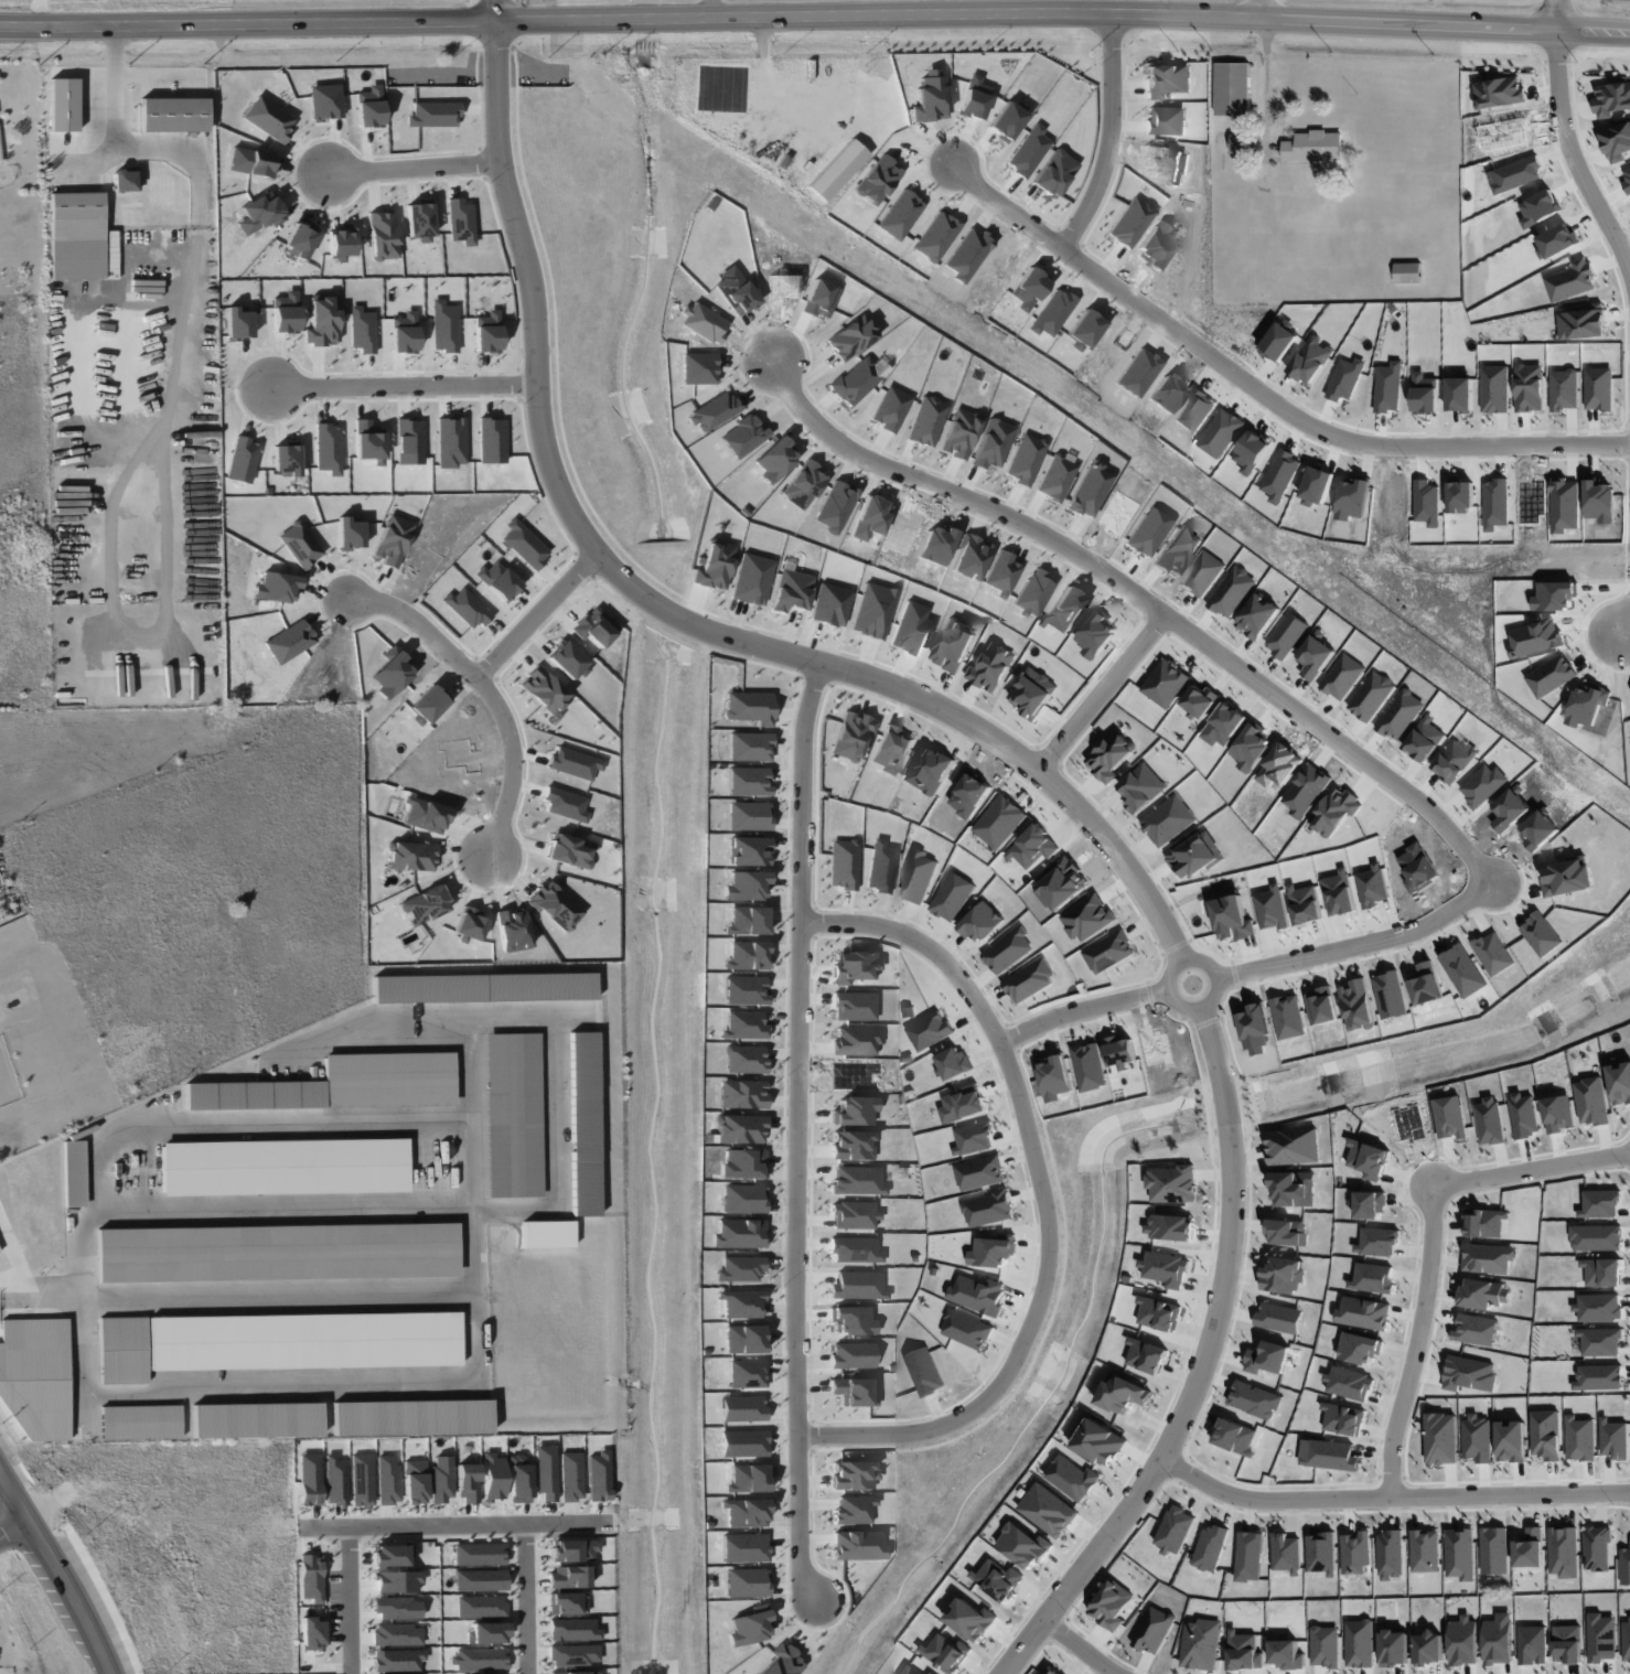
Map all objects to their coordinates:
road: (1261, 9)
road: (815, 13)
road: (1557, 14)
road: (159, 76)
road: (1265, 82)
building: (1233, 89)
building: (435, 114)
building: (173, 115)
road: (1111, 136)
building: (1238, 142)
building: (1313, 147)
road: (129, 149)
road: (1572, 154)
road: (415, 168)
building: (837, 170)
building: (418, 219)
building: (460, 221)
building: (1407, 272)
road: (200, 290)
road: (401, 386)
road: (1259, 393)
road: (1139, 602)
road: (662, 608)
road: (538, 614)
road: (421, 625)
road: (1626, 629)
road: (1098, 694)
road: (515, 762)
building: (749, 782)
building: (749, 815)
building: (568, 850)
building: (983, 921)
road: (1356, 944)
building: (483, 987)
road: (1212, 989)
road: (1080, 1009)
road: (797, 1047)
building: (388, 1080)
building: (1619, 1080)
building: (742, 1093)
building: (254, 1095)
building: (1591, 1102)
building: (513, 1115)
building: (1523, 1115)
building: (1449, 1117)
building: (1489, 1122)
road: (282, 1124)
building: (583, 1124)
building: (1294, 1147)
road: (1533, 1161)
building: (285, 1167)
building: (73, 1173)
building: (1171, 1183)
road: (1037, 1197)
building: (1599, 1203)
building: (1369, 1205)
building: (1483, 1223)
building: (1170, 1226)
building: (1288, 1233)
building: (547, 1234)
building: (1596, 1237)
building: (1377, 1241)
building: (277, 1252)
building: (1488, 1258)
building: (1166, 1269)
building: (1601, 1271)
building: (1373, 1278)
building: (1483, 1294)
road: (39, 1299)
building: (1598, 1308)
building: (1364, 1313)
building: (1159, 1314)
building: (1474, 1330)
road: (1418, 1338)
building: (303, 1341)
building: (1599, 1341)
building: (1360, 1348)
building: (121, 1350)
building: (1147, 1355)
road: (1200, 1365)
road: (470, 1372)
building: (35, 1376)
building: (1598, 1377)
building: (1349, 1384)
building: (1123, 1394)
building: (1255, 1399)
building: (410, 1417)
building: (255, 1419)
building: (1343, 1419)
building: (139, 1421)
building: (1545, 1435)
building: (1236, 1436)
building: (1440, 1438)
building: (1579, 1439)
building: (1615, 1439)
building: (1097, 1441)
building: (1331, 1456)
building: (1071, 1478)
road: (1508, 1490)
road: (1267, 1498)
building: (1048, 1510)
road: (801, 1519)
road: (13, 1527)
road: (449, 1528)
building: (1175, 1530)
building: (1023, 1546)
building: (1210, 1548)
building: (1529, 1548)
building: (1597, 1548)
building: (1424, 1550)
building: (1493, 1550)
building: (1563, 1552)
building: (1285, 1553)
building: (1320, 1553)
building: (1354, 1553)
building: (1459, 1554)
building: (1390, 1555)
building: (1250, 1556)
road: (58, 1571)
building: (998, 1579)
road: (353, 1601)
road: (528, 1601)
building: (1112, 1606)
building: (971, 1619)
building: (1154, 1630)
building: (1600, 1638)
building: (1626, 1639)
building: (1498, 1640)
building: (1462, 1641)
building: (1359, 1643)
building: (1567, 1644)
building: (1201, 1645)
building: (1532, 1645)
road: (1080, 1646)
building: (1325, 1646)
building: (1394, 1648)
building: (1428, 1649)
building: (1244, 1651)
building: (945, 1652)
building: (1286, 1654)
building: (910, 1670)
building: (1050, 1671)
building: (931, 1673)

